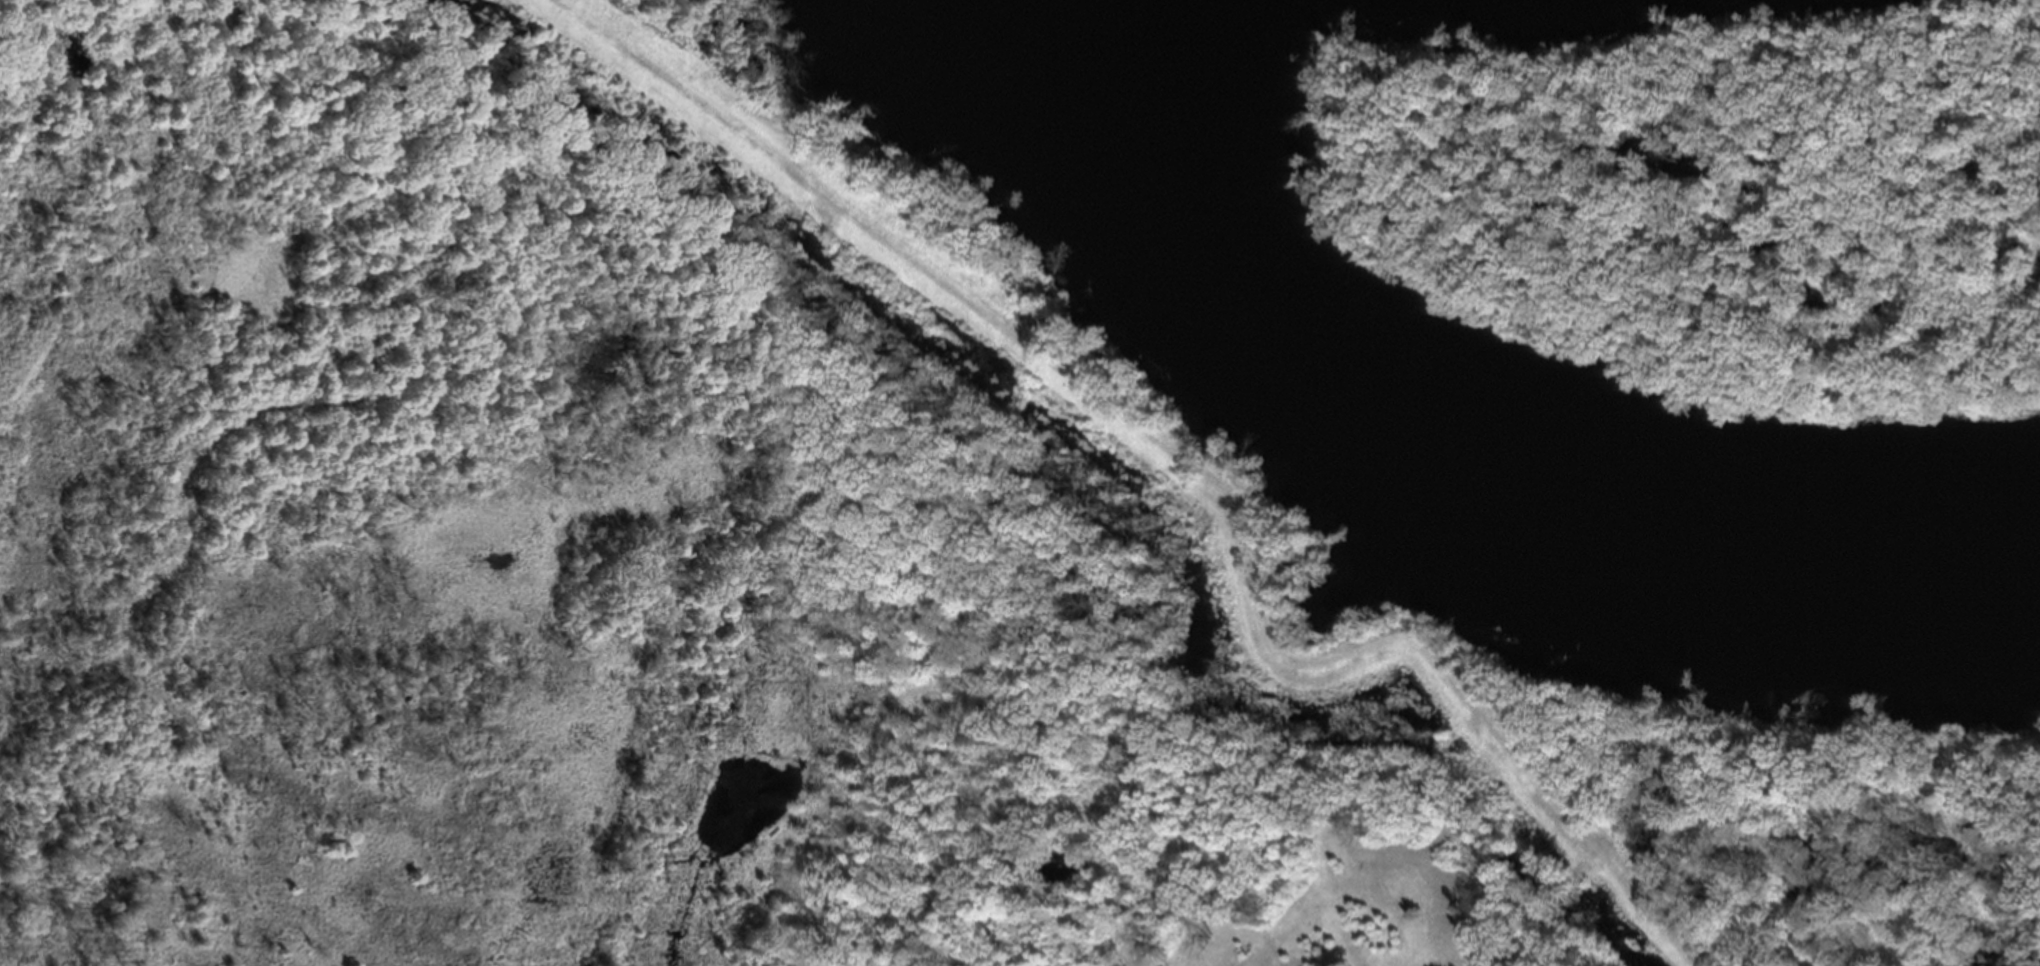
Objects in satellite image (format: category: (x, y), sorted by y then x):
river: (1431, 452)
road: (1181, 463)

